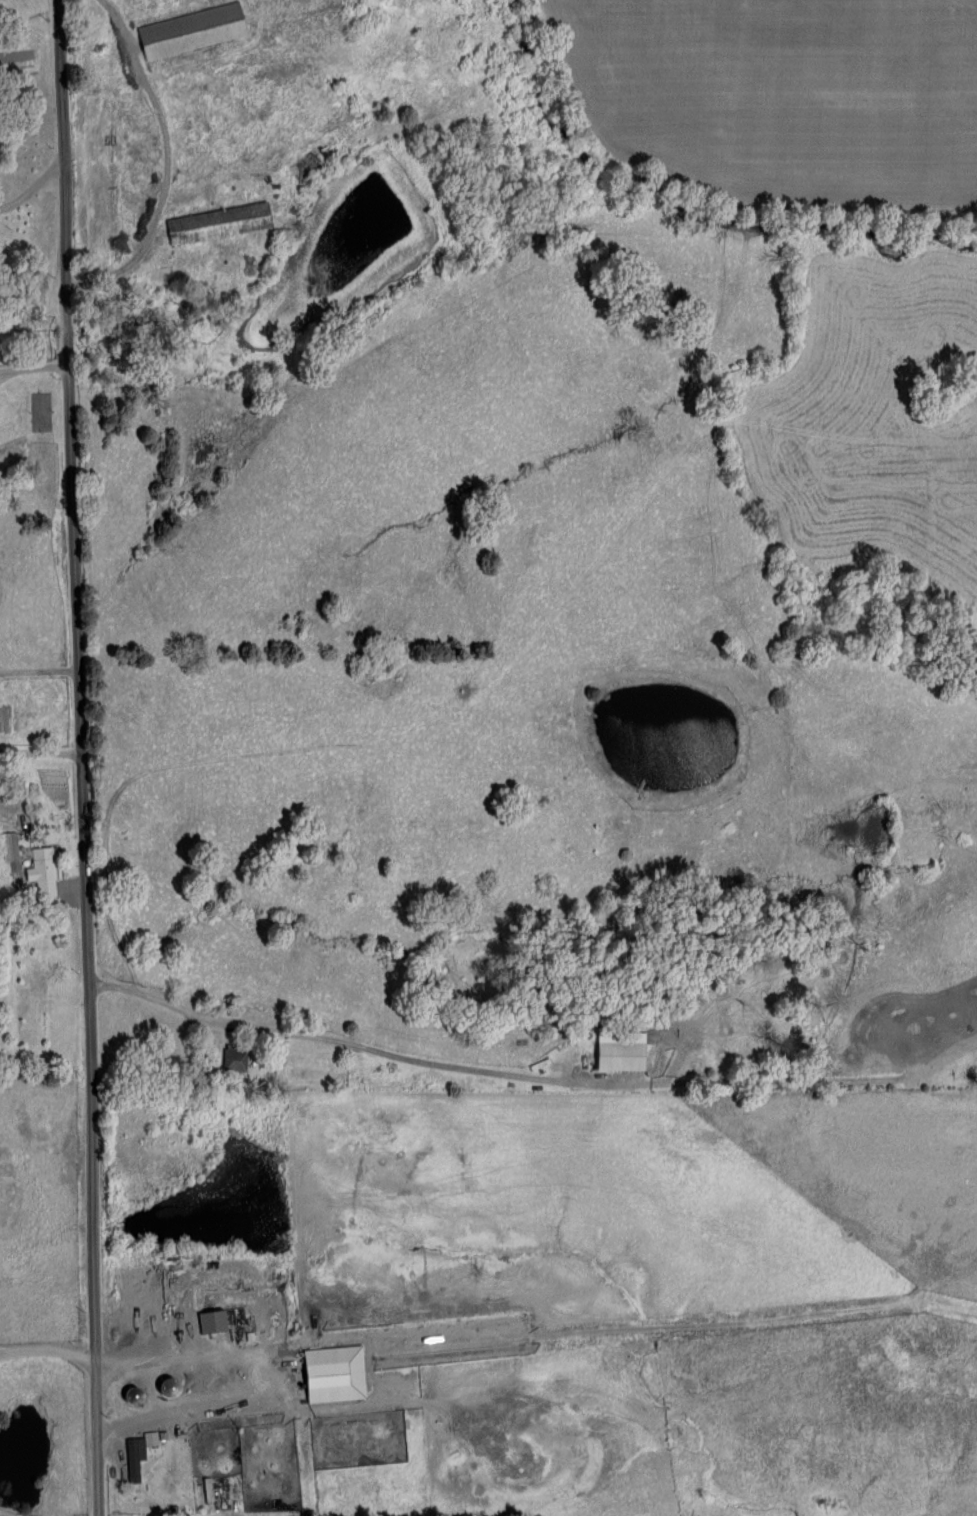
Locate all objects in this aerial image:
building: (188, 31)
road: (154, 118)
building: (215, 223)
road: (32, 377)
road: (75, 713)
building: (8, 846)
building: (40, 872)
road: (348, 1037)
building: (617, 1057)
building: (232, 1059)
building: (330, 1374)
road: (188, 1406)
building: (137, 1452)
road: (93, 1472)

